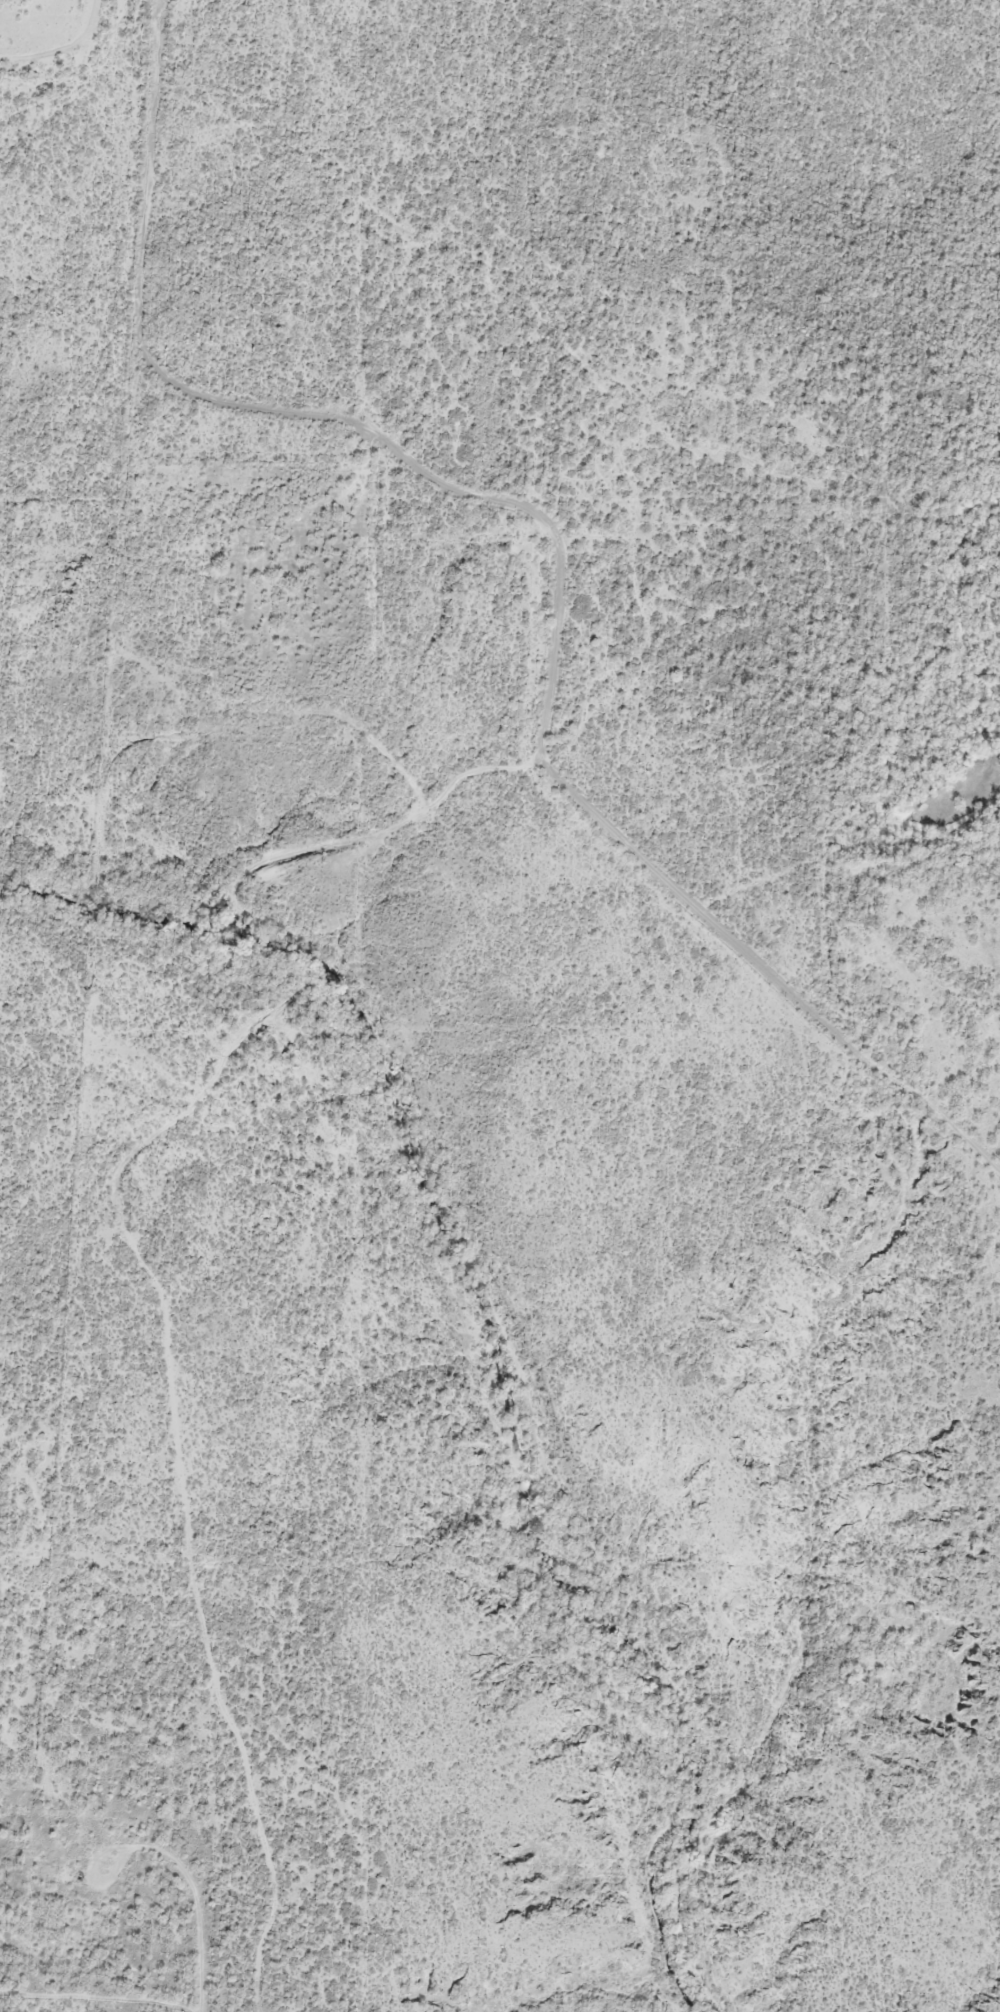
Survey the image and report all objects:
road: (199, 1938)

